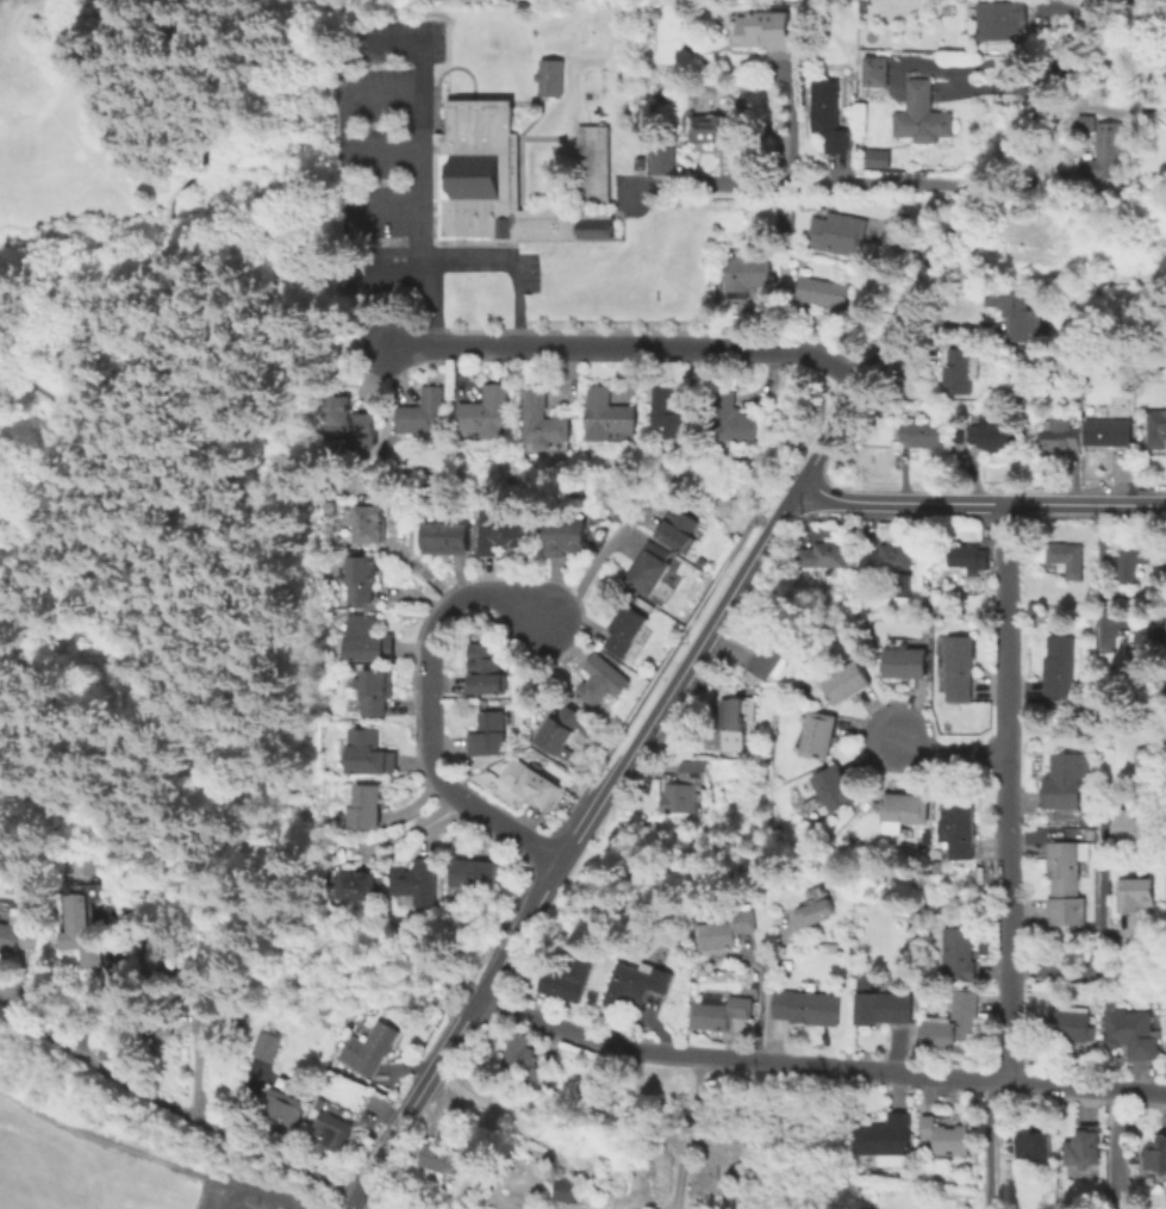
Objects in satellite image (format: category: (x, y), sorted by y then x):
road: (412, 4)
road: (278, 15)
building: (1002, 20)
building: (767, 29)
building: (880, 70)
road: (960, 73)
building: (548, 76)
road: (958, 89)
building: (927, 114)
building: (831, 116)
road: (793, 117)
road: (339, 121)
road: (61, 127)
building: (718, 127)
building: (1110, 136)
building: (880, 157)
building: (662, 158)
road: (416, 173)
building: (506, 181)
road: (804, 182)
road: (384, 216)
building: (841, 232)
road: (950, 238)
building: (1068, 239)
road: (511, 266)
road: (399, 273)
building: (746, 273)
building: (821, 291)
road: (273, 299)
building: (1017, 311)
road: (166, 332)
road: (542, 347)
road: (787, 349)
building: (958, 372)
building: (422, 412)
building: (486, 412)
building: (672, 412)
building: (609, 415)
building: (541, 418)
building: (731, 420)
building: (349, 425)
building: (1156, 429)
building: (1108, 431)
building: (984, 432)
building: (922, 434)
building: (1060, 436)
road: (10, 455)
road: (980, 499)
building: (367, 523)
building: (676, 528)
building: (498, 530)
building: (565, 536)
building: (445, 537)
building: (822, 553)
building: (967, 555)
building: (1064, 557)
building: (1129, 560)
road: (593, 565)
building: (891, 565)
building: (649, 572)
building: (361, 578)
building: (624, 629)
building: (367, 638)
building: (1151, 646)
building: (772, 650)
building: (904, 662)
building: (1058, 666)
building: (958, 667)
building: (487, 674)
building: (600, 679)
building: (842, 680)
building: (375, 688)
road: (211, 705)
road: (430, 708)
building: (735, 721)
building: (561, 729)
building: (488, 734)
building: (817, 735)
building: (368, 752)
road: (948, 753)
building: (1143, 761)
building: (693, 771)
building: (526, 781)
building: (1066, 783)
road: (1005, 789)
building: (833, 791)
building: (679, 797)
building: (364, 806)
building: (905, 808)
building: (960, 829)
building: (1127, 829)
road: (572, 841)
building: (473, 872)
building: (414, 880)
building: (355, 884)
building: (1067, 887)
building: (1135, 896)
building: (813, 906)
road: (1098, 914)
building: (77, 926)
building: (723, 929)
building: (17, 937)
building: (162, 954)
building: (958, 954)
building: (567, 976)
building: (634, 983)
road: (765, 995)
building: (879, 1003)
building: (806, 1007)
building: (717, 1011)
building: (952, 1022)
building: (1068, 1023)
building: (1130, 1033)
building: (266, 1043)
building: (366, 1048)
building: (517, 1049)
road: (817, 1065)
building: (540, 1077)
road: (172, 1105)
building: (282, 1108)
building: (330, 1130)
road: (684, 1133)
building: (884, 1135)
road: (101, 1136)
building: (944, 1138)
road: (981, 1142)
building: (1035, 1142)
building: (1083, 1146)
road: (1114, 1148)
building: (1155, 1154)
building: (437, 1157)
road: (243, 1189)
building: (562, 1190)
road: (231, 1197)
parking lot: (232, 1199)
road: (295, 1201)
road: (281, 1205)

